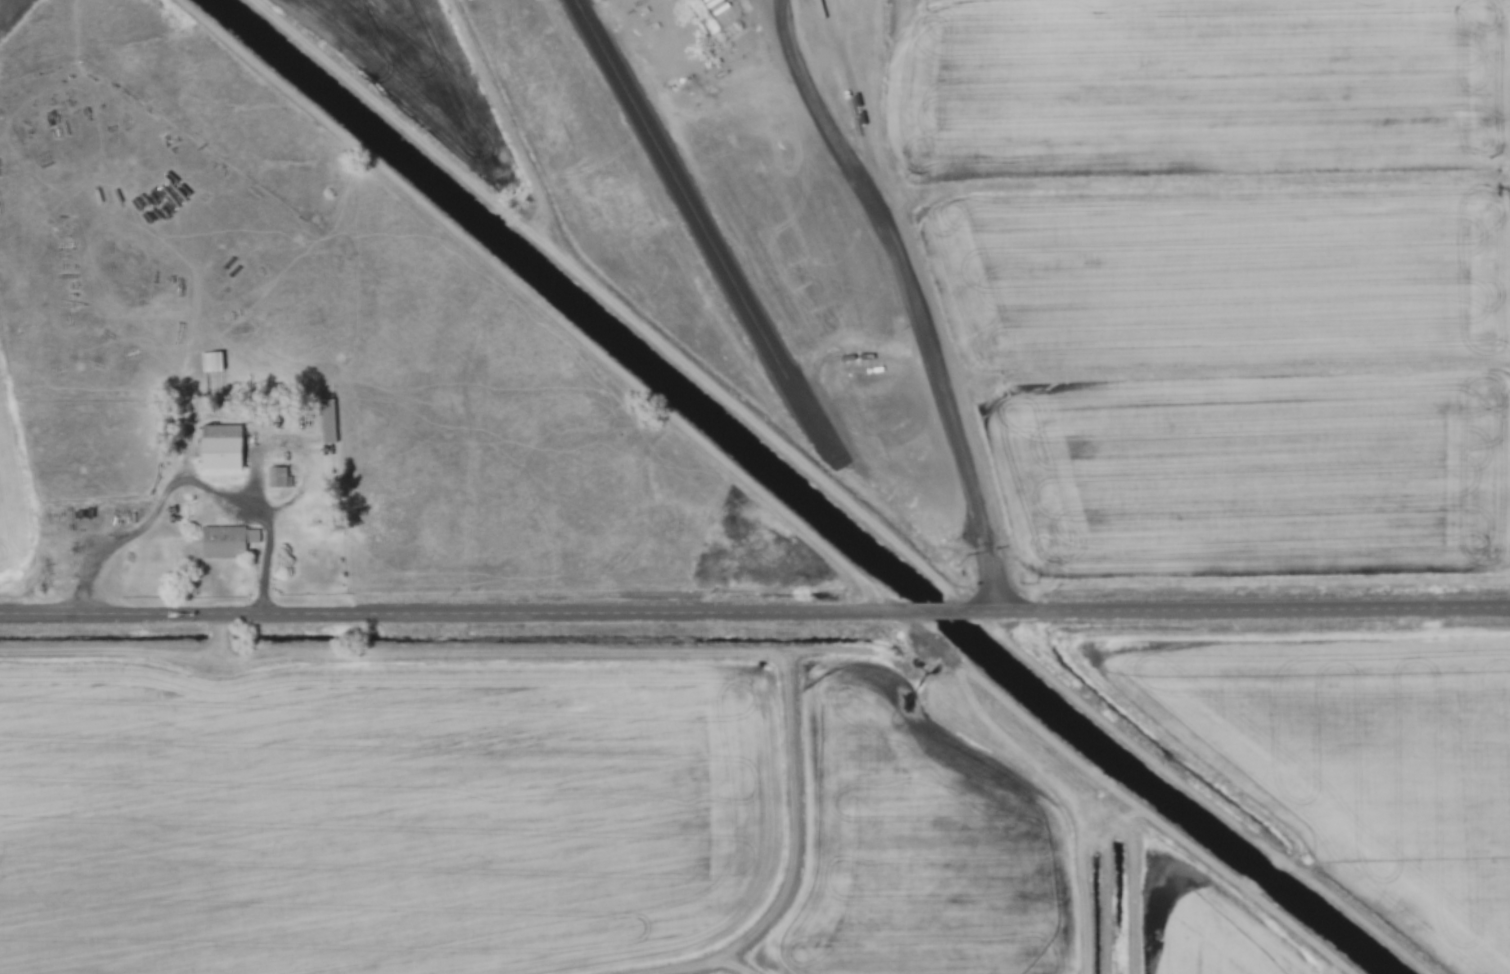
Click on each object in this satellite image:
building: (718, 14)
airport runway: (679, 188)
road: (910, 300)
building: (213, 362)
building: (329, 421)
building: (222, 447)
building: (279, 478)
building: (227, 541)
road: (1227, 614)
road: (472, 619)

